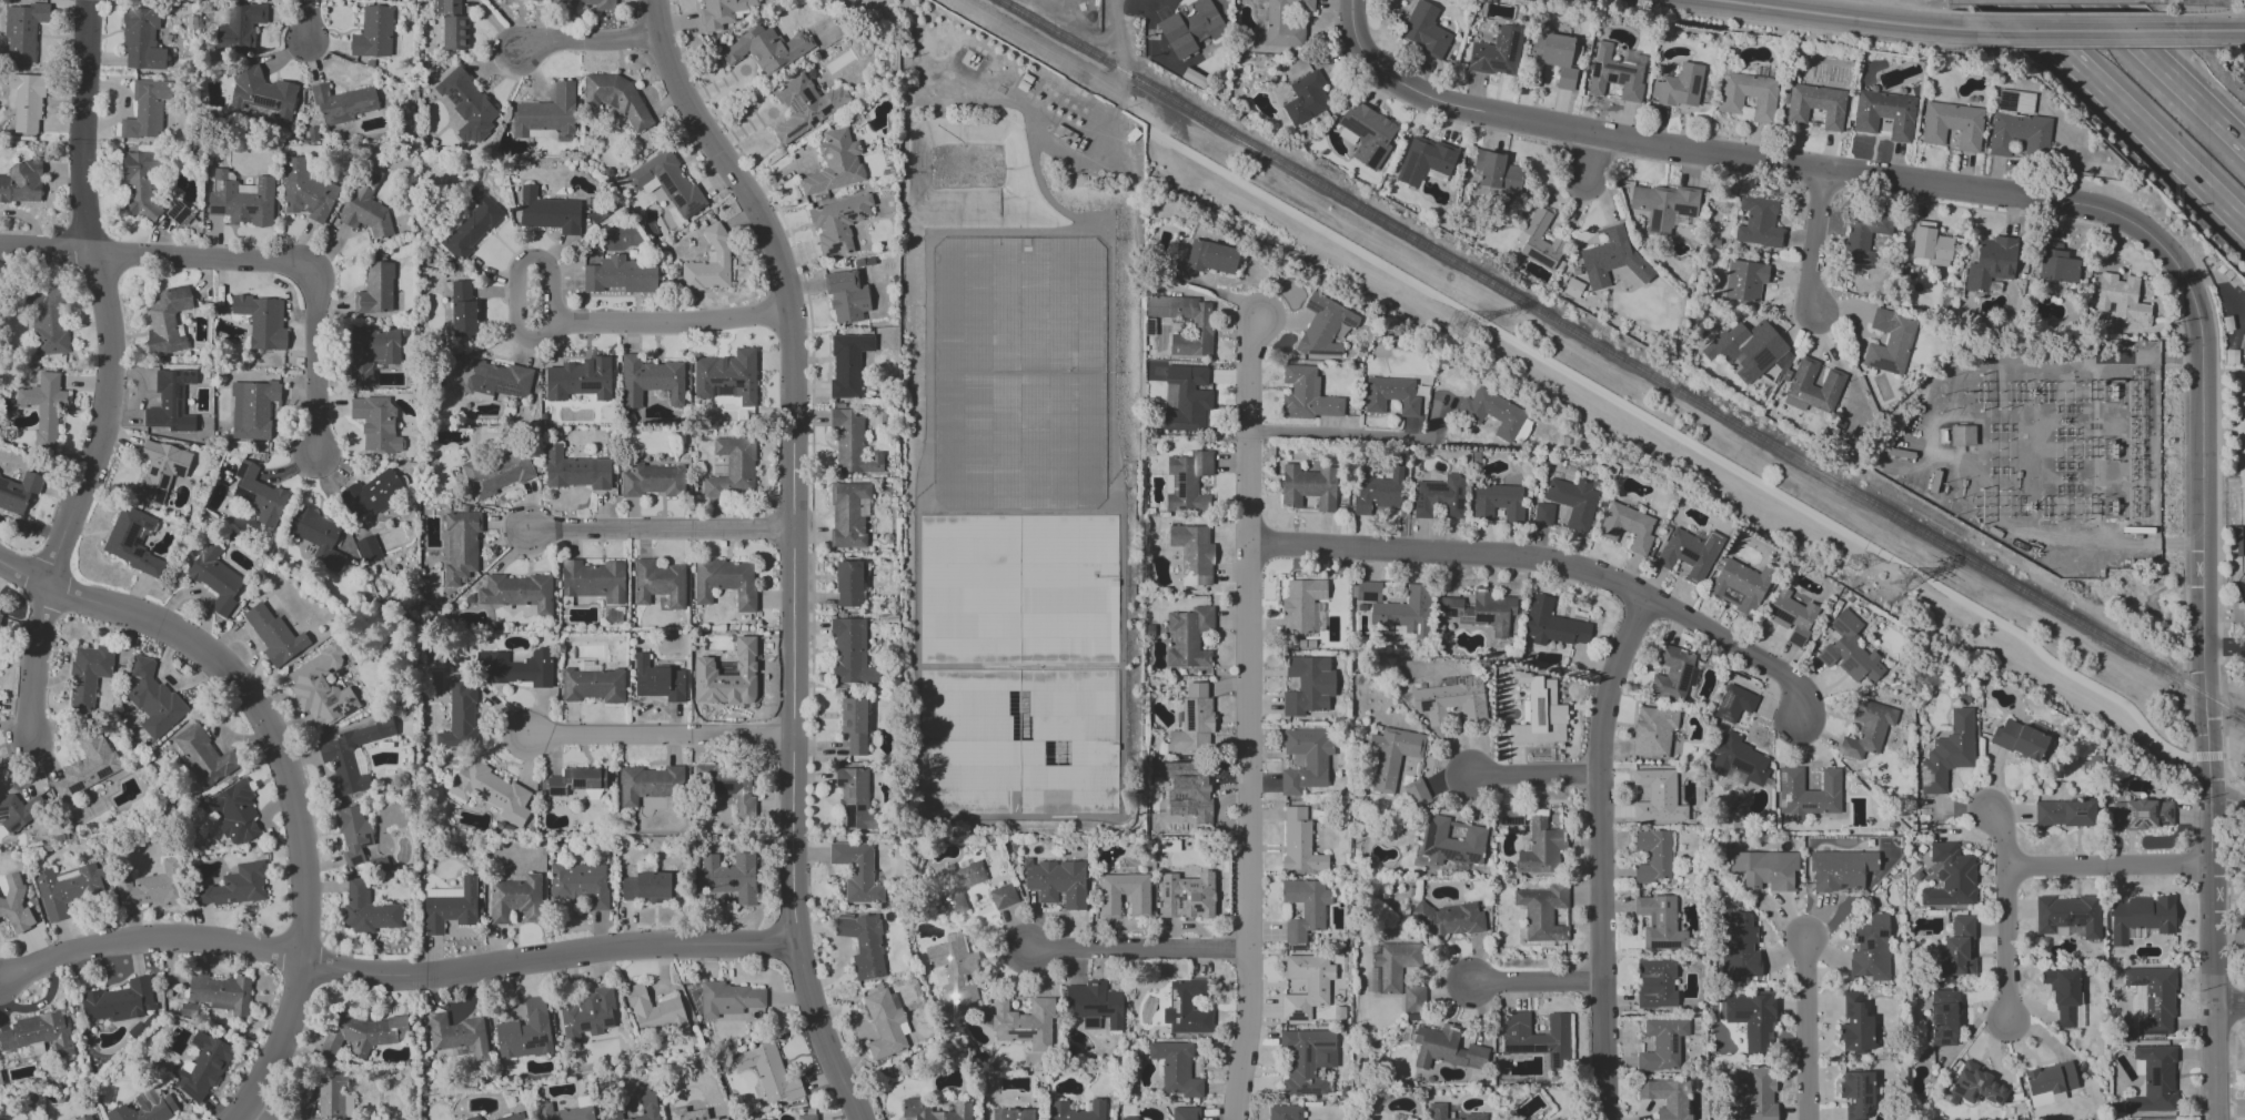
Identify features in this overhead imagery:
road: (2227, 0)
road: (1144, 2)
building: (588, 3)
road: (1914, 8)
building: (723, 12)
road: (2066, 13)
road: (2198, 13)
road: (1856, 18)
road: (308, 20)
building: (1285, 22)
building: (452, 24)
building: (240, 28)
building: (1190, 28)
building: (1423, 29)
road: (2207, 29)
building: (22, 30)
road: (2084, 30)
building: (373, 33)
road: (593, 39)
building: (141, 40)
rooftop solar panel: (1513, 46)
building: (765, 49)
road: (1154, 50)
building: (1497, 52)
rooftop solar panel: (1474, 57)
building: (1557, 57)
rooftop solar panel: (1496, 63)
road: (1118, 70)
building: (1617, 72)
road: (2168, 72)
rooftop solar panel: (1695, 84)
building: (1679, 85)
building: (261, 92)
building: (1748, 94)
building: (617, 98)
building: (1305, 98)
rooftop solar panel: (265, 100)
building: (24, 102)
rooftop solar panel: (795, 102)
building: (2015, 102)
building: (343, 103)
building: (466, 104)
building: (1816, 105)
building: (805, 107)
building: (145, 111)
road: (2127, 113)
building: (1884, 114)
rooftop solar panel: (548, 122)
building: (1952, 125)
rooftop solar panel: (1358, 127)
rooftop solar panel: (795, 130)
rooftop solar panel: (1371, 132)
rooftop solar panel: (542, 133)
building: (1368, 133)
building: (2017, 133)
road: (1584, 158)
building: (1424, 160)
building: (834, 164)
rooftop solar panel: (1409, 165)
building: (1497, 171)
building: (21, 182)
building: (140, 182)
building: (667, 182)
rooftop solar panel: (221, 184)
building: (306, 191)
building: (241, 199)
building: (1662, 205)
rooftop solar panel: (694, 206)
road: (1962, 206)
rooftop solar panel: (219, 210)
rooftop solar panel: (253, 210)
rooftop solar panel: (1685, 211)
building: (177, 212)
building: (548, 212)
building: (365, 214)
rooftop solar panel: (849, 215)
building: (1758, 222)
building: (837, 223)
building: (472, 224)
building: (1863, 235)
road: (1814, 240)
building: (1540, 241)
road: (2156, 243)
building: (1930, 244)
rooftop solar panel: (834, 248)
building: (1211, 256)
rooftop solar panel: (1539, 256)
road: (158, 259)
building: (591, 259)
building: (1612, 259)
building: (708, 263)
building: (1991, 263)
building: (2056, 264)
building: (621, 275)
road: (526, 279)
building: (1744, 280)
building: (375, 289)
building: (846, 296)
building: (2121, 299)
rooftop solar panel: (1313, 307)
building: (462, 310)
road: (676, 320)
building: (167, 321)
building: (262, 321)
building: (47, 322)
rooftop solar panel: (1351, 322)
building: (2228, 323)
building: (1200, 326)
building: (1325, 326)
rooftop solar panel: (1149, 329)
building: (1889, 341)
building: (2244, 343)
building: (1746, 347)
building: (374, 351)
building: (2232, 357)
railway: (1623, 359)
rooftop solar panel: (1760, 360)
building: (847, 363)
rooftop solar panel: (1882, 364)
road: (320, 367)
rooftop solar panel: (837, 369)
rooftop solar panel: (849, 372)
building: (1016, 374)
road: (113, 376)
building: (727, 376)
building: (493, 379)
building: (578, 380)
building: (650, 380)
rooftop solar panel: (716, 381)
rooftop solar panel: (497, 382)
rooftop solar panel: (586, 385)
rooftop solar panel: (572, 386)
building: (1812, 386)
rooftop solar panel: (509, 389)
rooftop solar panel: (835, 389)
rooftop solar panel: (850, 394)
building: (1307, 394)
building: (1390, 395)
building: (170, 396)
building: (1188, 398)
building: (43, 407)
building: (252, 410)
building: (1492, 413)
building: (375, 424)
road: (812, 431)
building: (1522, 431)
building: (1960, 435)
road: (1338, 437)
building: (852, 444)
road: (1709, 454)
park: (2232, 460)
power substation: (2046, 463)
building: (733, 467)
building: (160, 470)
building: (576, 470)
building: (497, 473)
rooftop solar panel: (1185, 476)
building: (652, 481)
building: (1186, 481)
building: (1308, 486)
rooftop solar panel: (1436, 486)
rooftop solar panel: (1181, 491)
building: (1378, 491)
park: (2242, 492)
building: (18, 493)
building: (258, 495)
building: (372, 495)
building: (1440, 496)
building: (1498, 502)
building: (1573, 502)
building: (1542, 514)
building: (848, 515)
road: (2218, 519)
building: (1627, 526)
road: (665, 528)
building: (316, 537)
building: (132, 541)
building: (461, 546)
building: (368, 548)
road: (796, 548)
building: (1689, 553)
rooftop solar panel: (1690, 553)
building: (1192, 554)
road: (1557, 564)
building: (215, 578)
power tower: (1900, 579)
building: (593, 581)
building: (725, 582)
building: (658, 583)
building: (848, 584)
building: (1740, 585)
building: (517, 592)
building: (1300, 605)
building: (1396, 608)
rooftop solar panel: (1450, 611)
building: (1481, 611)
rooftop solar panel: (1779, 615)
building: (1791, 615)
building: (0, 617)
rooftop solar panel: (1481, 618)
building: (1552, 624)
building: (273, 635)
building: (1188, 637)
rooftop solar panel: (1796, 640)
road: (2224, 645)
building: (1850, 650)
building: (849, 653)
building: (516, 667)
building: (1673, 674)
building: (88, 675)
rooftop solar panel: (1684, 676)
building: (727, 677)
rooftop solar panel: (1692, 677)
parking lot: (2243, 677)
building: (657, 680)
building: (593, 685)
building: (1308, 685)
building: (321, 687)
building: (153, 699)
building: (1451, 700)
rooftop solar panel: (1725, 700)
building: (1733, 704)
rooftop solar panel: (1539, 710)
building: (460, 714)
building: (1540, 714)
road: (1248, 718)
rooftop solar panel: (1723, 718)
building: (1192, 720)
building: (854, 725)
building: (1866, 729)
building: (1653, 731)
road: (668, 734)
building: (2019, 739)
building: (1018, 741)
road: (285, 753)
building: (1947, 753)
building: (1392, 755)
building: (204, 756)
building: (351, 756)
building: (1738, 759)
building: (1306, 760)
building: (87, 766)
rooftop solar panel: (105, 774)
road: (1532, 775)
rooftop solar panel: (1781, 776)
rooftop solar panel: (1924, 776)
building: (575, 780)
rooftop solar panel: (578, 783)
building: (650, 784)
rooftop solar panel: (75, 785)
building: (727, 786)
building: (492, 791)
building: (1189, 791)
building: (1416, 793)
building: (1806, 794)
building: (1658, 797)
building: (854, 799)
rooftop solar panel: (1784, 801)
rooftop solar panel: (1808, 807)
rooftop solar panel: (2154, 811)
rooftop solar panel: (4, 813)
building: (14, 813)
building: (233, 813)
building: (2064, 813)
rooftop solar panel: (2127, 813)
rooftop solar panel: (2170, 813)
building: (1510, 815)
rooftop solar panel: (1665, 815)
building: (2142, 815)
rooftop solar panel: (1647, 816)
rooftop solar panel: (1673, 817)
rooftop solar panel: (1660, 818)
rooftop solar panel: (1509, 823)
rooftop solar panel: (2135, 823)
rooftop solar panel: (2144, 823)
rooftop solar panel: (2160, 823)
rooftop solar panel: (13, 826)
building: (352, 835)
building: (1452, 841)
building: (1299, 842)
building: (1540, 848)
rooftop solar panel: (1438, 850)
road: (1599, 854)
building: (1653, 856)
rooftop solar panel: (1470, 858)
rooftop solar panel: (1459, 860)
road: (2106, 866)
building: (1765, 868)
building: (1840, 869)
building: (857, 871)
building: (731, 877)
building: (1950, 877)
building: (1057, 882)
building: (957, 884)
building: (581, 885)
building: (234, 886)
building: (152, 887)
building: (650, 887)
building: (68, 888)
building: (1003, 896)
building: (1187, 896)
building: (515, 899)
building: (13, 902)
building: (450, 906)
building: (1108, 906)
building: (1305, 908)
building: (366, 910)
building: (1542, 911)
building: (2067, 916)
road: (2006, 917)
rooftop solar panel: (2068, 917)
building: (2141, 917)
building: (1449, 919)
building: (1660, 922)
building: (863, 944)
rooftop solar panel: (1663, 946)
building: (1738, 947)
building: (1871, 948)
building: (1956, 949)
road: (1136, 955)
building: (1391, 965)
road: (393, 970)
building: (953, 971)
road: (1537, 982)
building: (1655, 983)
building: (1306, 985)
rooftop solar panel: (2140, 986)
building: (221, 993)
building: (2064, 996)
building: (729, 999)
building: (1412, 999)
building: (2153, 999)
building: (118, 1001)
building: (1095, 1003)
rooftop solar panel: (2154, 1003)
road: (2228, 1006)
building: (1186, 1008)
building: (655, 1011)
building: (586, 1015)
building: (1944, 1018)
building: (1752, 1019)
rooftop solar panel: (608, 1022)
building: (1024, 1023)
rooftop solar panel: (1089, 1023)
building: (885, 1025)
building: (1854, 1025)
rooftop solar panel: (586, 1026)
road: (1812, 1029)
building: (39, 1032)
building: (525, 1032)
building: (361, 1033)
rooftop solar panel: (1021, 1033)
building: (457, 1035)
building: (1537, 1037)
rooftop solar panel: (543, 1038)
rooftop solar panel: (535, 1040)
rooftop solar panel: (199, 1043)
rooftop solar panel: (1322, 1043)
building: (1662, 1045)
rooftop solar panel: (1672, 1045)
building: (1447, 1048)
rooftop solar panel: (1305, 1057)
building: (1307, 1060)
building: (200, 1067)
building: (1176, 1069)
building: (767, 1072)
rooftop solar panel: (2156, 1077)
building: (2154, 1080)
building: (2048, 1082)
building: (1974, 1086)
rooftop solar panel: (1854, 1088)
rooftop solar panel: (1306, 1090)
rooftop solar panel: (1865, 1090)
rooftop solar panel: (194, 1092)
building: (1856, 1092)
building: (1754, 1097)
building: (333, 1098)
building: (1667, 1098)
building: (648, 1100)
rooftop solar panel: (1864, 1100)
building: (915, 1107)
building: (145, 1108)
building: (1437, 1108)
road: (248, 1110)
road: (261, 1110)
building: (567, 1110)
building: (1077, 1111)
building: (1285, 1112)
building: (1185, 1113)
building: (691, 1114)
building: (1013, 1114)
building: (512, 1117)
building: (806, 1117)
building: (89, 1118)
building: (472, 1118)
building: (1128, 1118)

